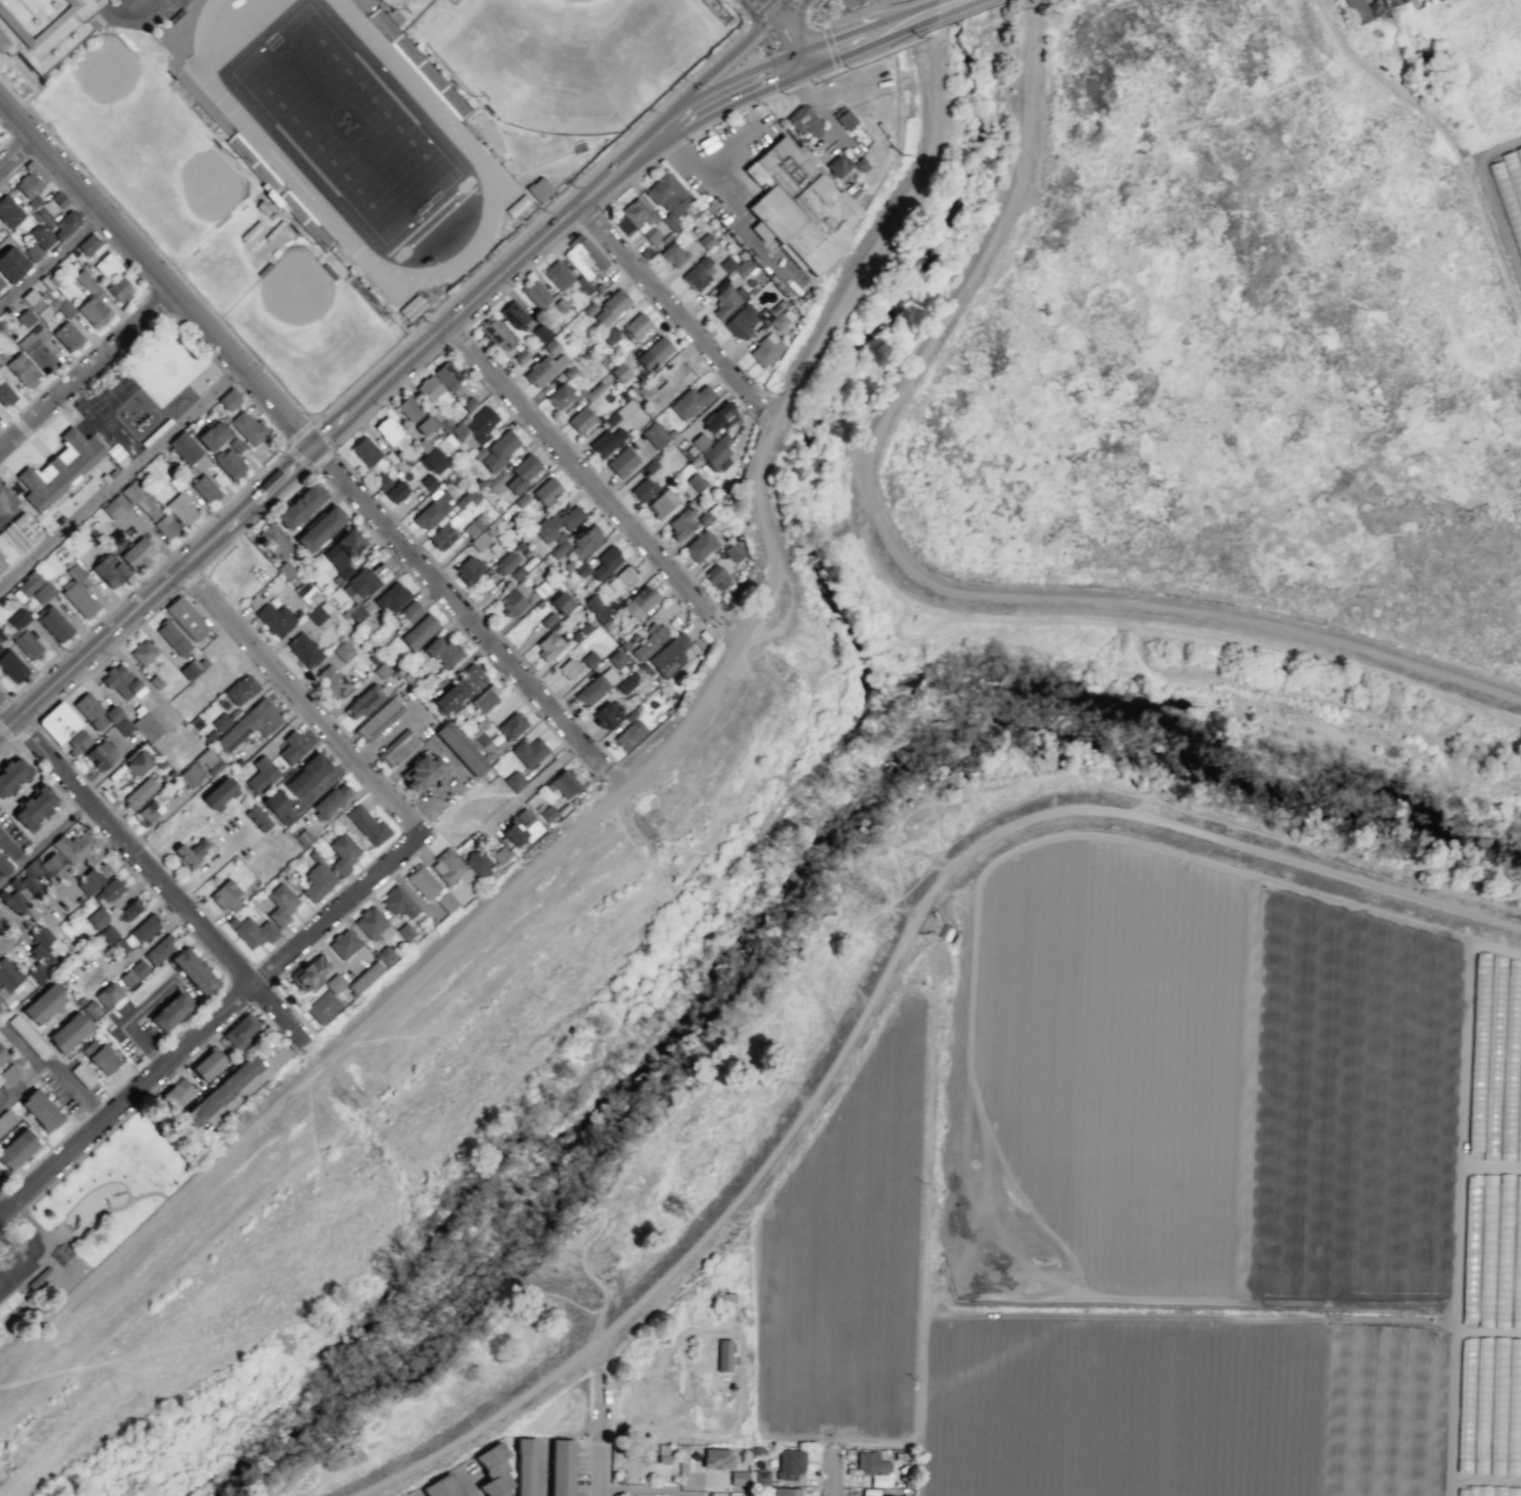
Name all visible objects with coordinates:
park: (927, 0)
park: (180, 1)
road: (897, 3)
road: (799, 4)
crop: (1427, 5)
road: (943, 6)
park: (406, 8)
road: (766, 9)
road: (784, 9)
road: (738, 10)
road: (758, 10)
building: (1357, 11)
road: (858, 12)
road: (963, 14)
road: (810, 23)
building: (41, 28)
road: (917, 33)
road: (925, 36)
road: (862, 38)
road: (787, 41)
road: (830, 47)
park: (567, 55)
traffic signals: (797, 65)
road: (711, 71)
road: (725, 96)
road: (813, 104)
park: (102, 105)
building: (804, 120)
building: (847, 120)
park: (346, 122)
road: (10, 135)
track: (461, 138)
road: (729, 142)
road: (20, 146)
road: (15, 149)
building: (838, 165)
road: (643, 169)
building: (30, 180)
park: (175, 186)
building: (539, 189)
building: (668, 197)
building: (59, 199)
road: (731, 204)
building: (516, 205)
building: (807, 205)
building: (9, 211)
road: (588, 217)
building: (641, 219)
building: (57, 222)
building: (624, 226)
road: (121, 233)
building: (40, 236)
building: (707, 241)
park: (889, 241)
building: (88, 244)
building: (32, 252)
building: (675, 255)
road: (50, 256)
building: (583, 260)
road: (614, 263)
building: (11, 264)
building: (728, 264)
building: (106, 265)
building: (698, 274)
building: (559, 275)
road: (144, 282)
building: (1, 283)
building: (119, 289)
building: (536, 294)
building: (91, 300)
building: (727, 300)
road: (157, 301)
road: (666, 303)
building: (36, 305)
building: (562, 305)
building: (412, 307)
building: (611, 307)
building: (65, 308)
building: (513, 314)
building: (25, 317)
building: (781, 319)
building: (741, 322)
road: (149, 326)
building: (636, 326)
park: (305, 329)
building: (541, 332)
building: (497, 333)
road: (455, 335)
building: (67, 336)
building: (609, 336)
building: (551, 347)
building: (37, 348)
building: (767, 349)
building: (653, 353)
building: (521, 356)
crop: (1249, 356)
road: (85, 366)
building: (543, 369)
building: (23, 370)
building: (569, 371)
building: (620, 372)
building: (447, 375)
road: (361, 378)
building: (431, 387)
building: (593, 391)
building: (5, 395)
building: (560, 395)
building: (229, 399)
building: (690, 402)
building: (470, 404)
road: (279, 406)
building: (409, 409)
building: (620, 412)
building: (719, 417)
building: (580, 419)
building: (424, 424)
road: (21, 426)
building: (248, 427)
building: (475, 427)
road: (525, 428)
road: (321, 431)
road: (329, 433)
building: (390, 434)
building: (211, 435)
building: (654, 435)
building: (606, 441)
building: (699, 441)
building: (447, 443)
building: (235, 445)
traffic signals: (315, 446)
building: (184, 447)
building: (499, 450)
building: (365, 451)
road: (294, 452)
building: (717, 454)
building: (433, 461)
building: (621, 462)
building: (199, 463)
building: (229, 464)
building: (402, 466)
building: (59, 468)
road: (578, 469)
building: (522, 472)
road: (121, 478)
building: (382, 482)
building: (430, 482)
building: (497, 482)
building: (695, 482)
building: (479, 484)
building: (205, 488)
building: (642, 489)
building: (548, 491)
building: (396, 492)
building: (121, 500)
building: (522, 501)
building: (661, 503)
building: (300, 505)
building: (147, 507)
building: (179, 508)
building: (432, 511)
road: (255, 519)
building: (558, 523)
building: (680, 523)
building: (26, 526)
building: (165, 526)
building: (320, 528)
building: (442, 537)
building: (274, 541)
building: (479, 541)
building: (585, 542)
building: (11, 544)
building: (700, 546)
building: (561, 549)
building: (343, 551)
building: (734, 551)
building: (136, 553)
building: (600, 564)
building: (285, 569)
building: (468, 569)
building: (109, 570)
road: (148, 572)
building: (516, 572)
building: (716, 576)
building: (623, 577)
road: (188, 580)
building: (27, 584)
building: (360, 584)
building: (42, 592)
building: (77, 592)
building: (307, 593)
building: (392, 596)
building: (639, 601)
building: (511, 602)
building: (562, 603)
building: (540, 604)
road: (473, 607)
building: (595, 607)
road: (460, 609)
building: (319, 612)
building: (357, 613)
building: (408, 613)
building: (186, 618)
building: (275, 619)
building: (549, 620)
building: (53, 623)
road: (453, 623)
park: (754, 623)
building: (607, 625)
building: (580, 631)
building: (419, 632)
building: (21, 634)
building: (1, 636)
building: (172, 637)
building: (649, 641)
building: (548, 645)
building: (0, 647)
building: (303, 649)
building: (442, 650)
building: (343, 651)
building: (143, 652)
building: (669, 655)
building: (616, 658)
building: (591, 659)
building: (12, 666)
building: (191, 668)
building: (570, 669)
building: (381, 670)
building: (121, 681)
building: (332, 681)
building: (627, 683)
building: (596, 686)
building: (241, 689)
building: (458, 690)
road: (5, 691)
building: (485, 699)
park: (790, 699)
road: (299, 700)
building: (364, 700)
road: (5, 702)
building: (89, 710)
building: (607, 715)
building: (117, 720)
building: (58, 722)
building: (220, 722)
building: (249, 724)
building: (147, 726)
building: (513, 726)
river: (1044, 733)
building: (630, 735)
road: (15, 737)
park: (693, 737)
building: (77, 742)
road: (6, 745)
building: (293, 747)
building: (397, 747)
building: (460, 748)
road: (44, 751)
building: (530, 752)
building: (100, 755)
building: (139, 763)
building: (216, 768)
road: (636, 769)
river: (1332, 770)
building: (421, 771)
road: (621, 771)
building: (261, 774)
building: (12, 775)
building: (306, 775)
building: (514, 781)
building: (567, 784)
road: (603, 788)
building: (140, 793)
building: (219, 794)
building: (331, 800)
building: (35, 806)
building: (278, 807)
building: (565, 809)
building: (148, 812)
building: (547, 813)
building: (261, 821)
building: (367, 824)
building: (521, 828)
road: (399, 830)
building: (304, 837)
road: (43, 841)
building: (73, 846)
building: (190, 851)
building: (343, 852)
building: (501, 855)
building: (479, 862)
building: (4, 866)
building: (448, 866)
building: (47, 867)
building: (92, 877)
building: (317, 881)
building: (423, 882)
building: (107, 892)
building: (34, 893)
building: (227, 895)
building: (401, 902)
building: (448, 902)
building: (282, 904)
building: (84, 907)
road: (334, 907)
building: (129, 911)
building: (99, 918)
road: (194, 921)
building: (372, 922)
building: (1, 926)
building: (143, 929)
building: (252, 931)
building: (407, 931)
building: (109, 934)
building: (345, 945)
building: (120, 947)
building: (159, 949)
building: (40, 953)
road: (303, 954)
building: (385, 954)
building: (193, 971)
building: (133, 972)
road: (239, 972)
building: (309, 972)
road: (261, 973)
road: (226, 975)
building: (365, 977)
building: (7, 979)
building: (147, 983)
building: (336, 984)
road: (240, 991)
road: (261, 993)
building: (106, 994)
building: (81, 1001)
park: (530, 1003)
building: (43, 1004)
building: (324, 1007)
building: (92, 1009)
building: (170, 1011)
building: (242, 1030)
building: (68, 1032)
building: (28, 1036)
building: (2, 1055)
building: (100, 1057)
road: (55, 1065)
building: (208, 1065)
building: (8, 1075)
building: (83, 1075)
building: (221, 1091)
building: (179, 1093)
road: (125, 1096)
building: (40, 1110)
building: (6, 1121)
building: (17, 1149)
river: (561, 1157)
road: (86, 1192)
crop: (1149, 1198)
road: (1, 1206)
park: (94, 1209)
road: (95, 1221)
park: (30, 1248)
park: (12, 1268)
building: (40, 1277)
park: (217, 1299)
building: (723, 1355)
road: (599, 1430)
building: (717, 1458)
building: (790, 1463)
building: (872, 1463)
building: (525, 1467)
building: (561, 1467)
building: (493, 1470)
building: (761, 1476)
building: (738, 1477)
building: (880, 1480)
building: (443, 1486)
road: (647, 1490)
building: (783, 1491)
road: (834, 1491)

